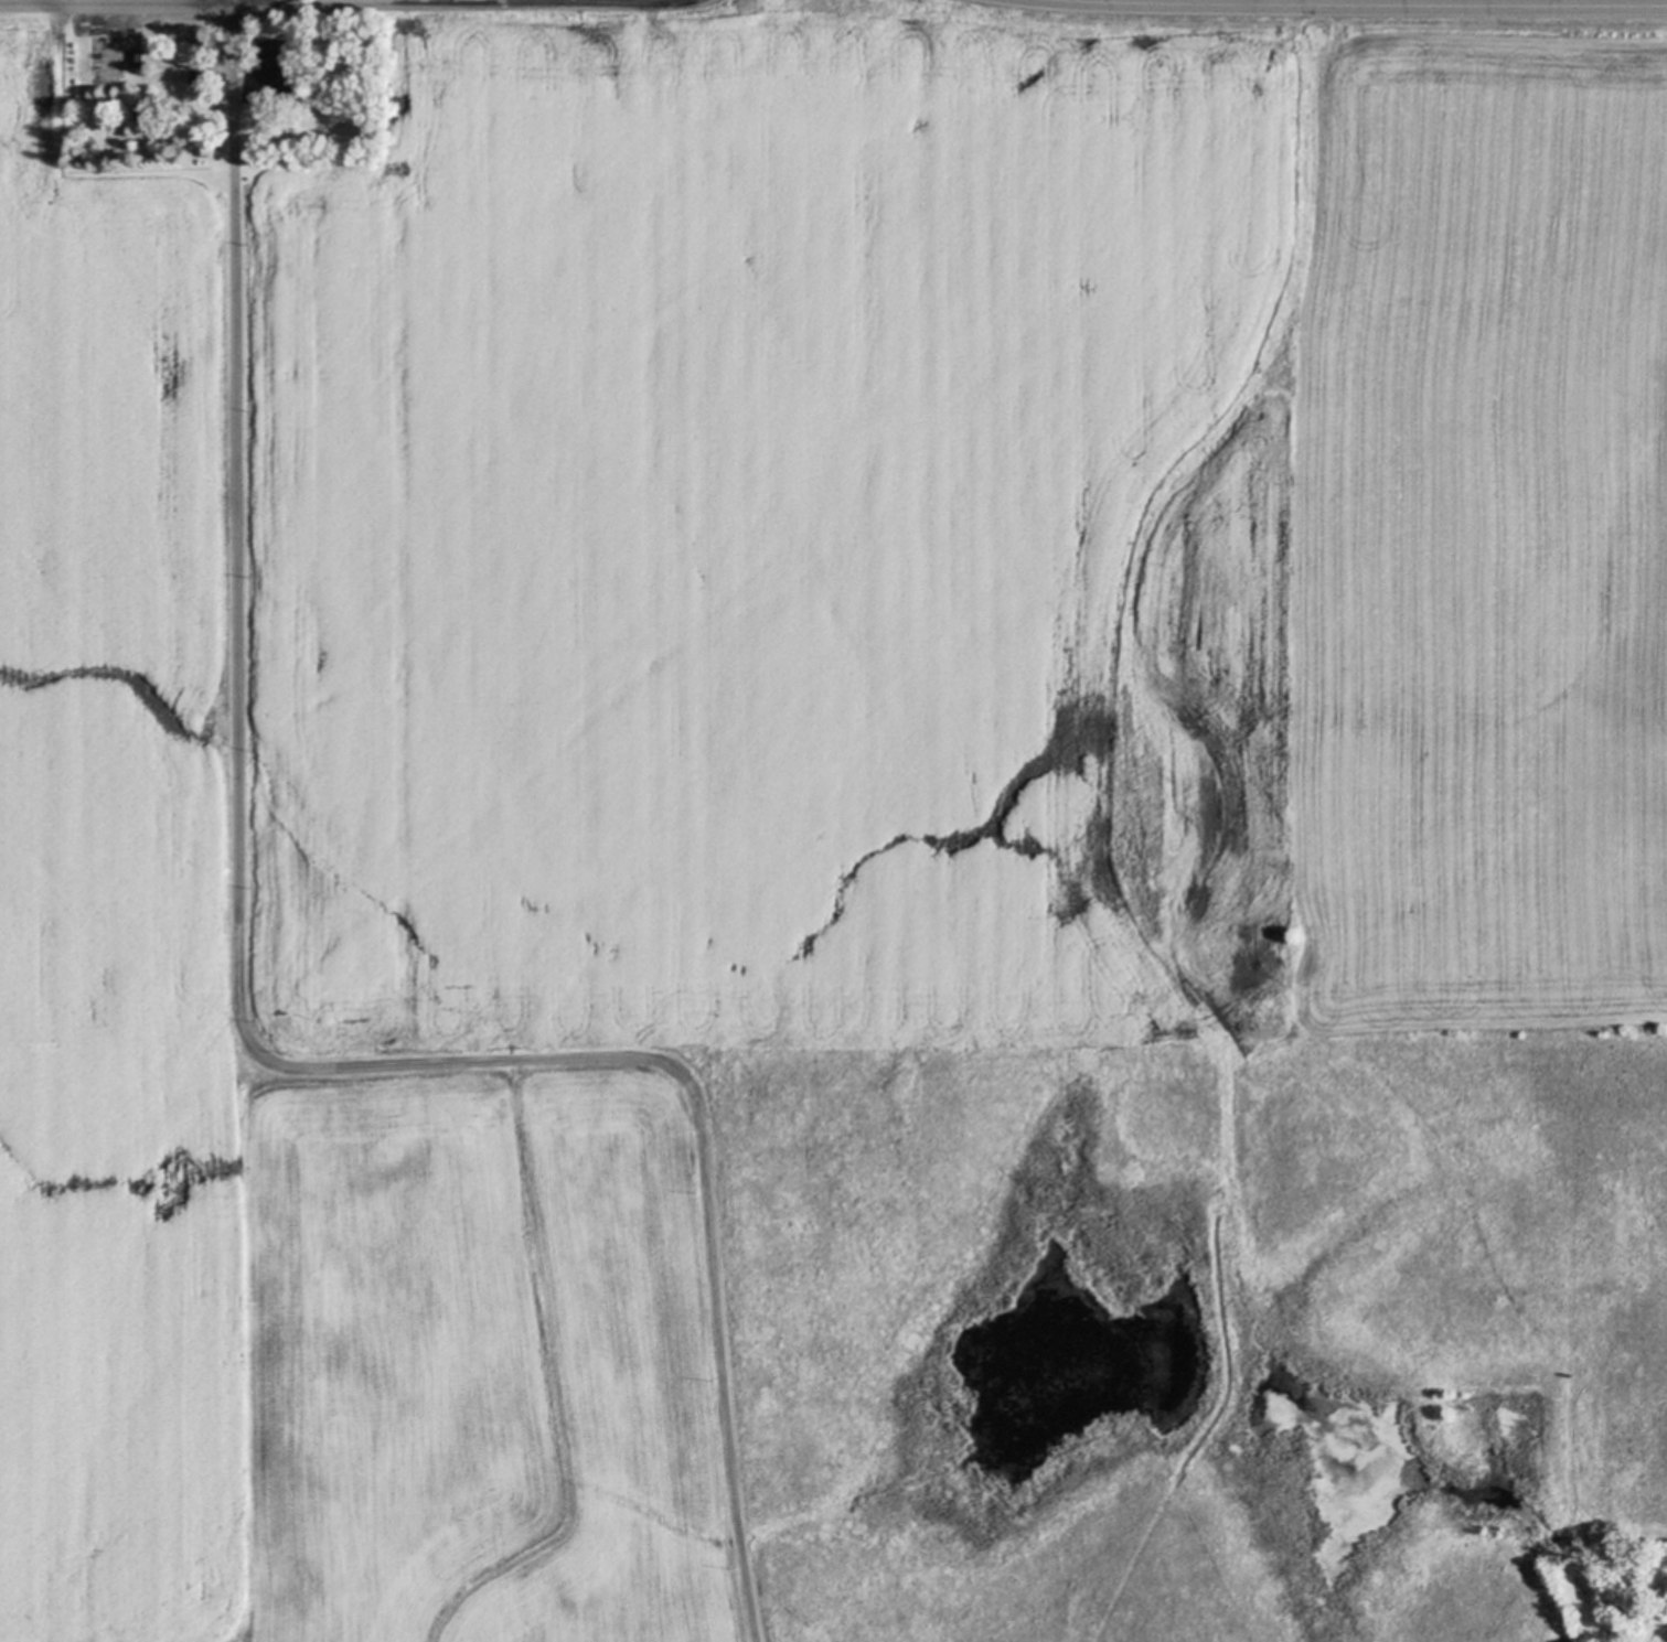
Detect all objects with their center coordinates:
road: (1378, 3)
building: (137, 60)
building: (200, 77)
building: (140, 116)
road: (235, 541)
road: (705, 1155)

